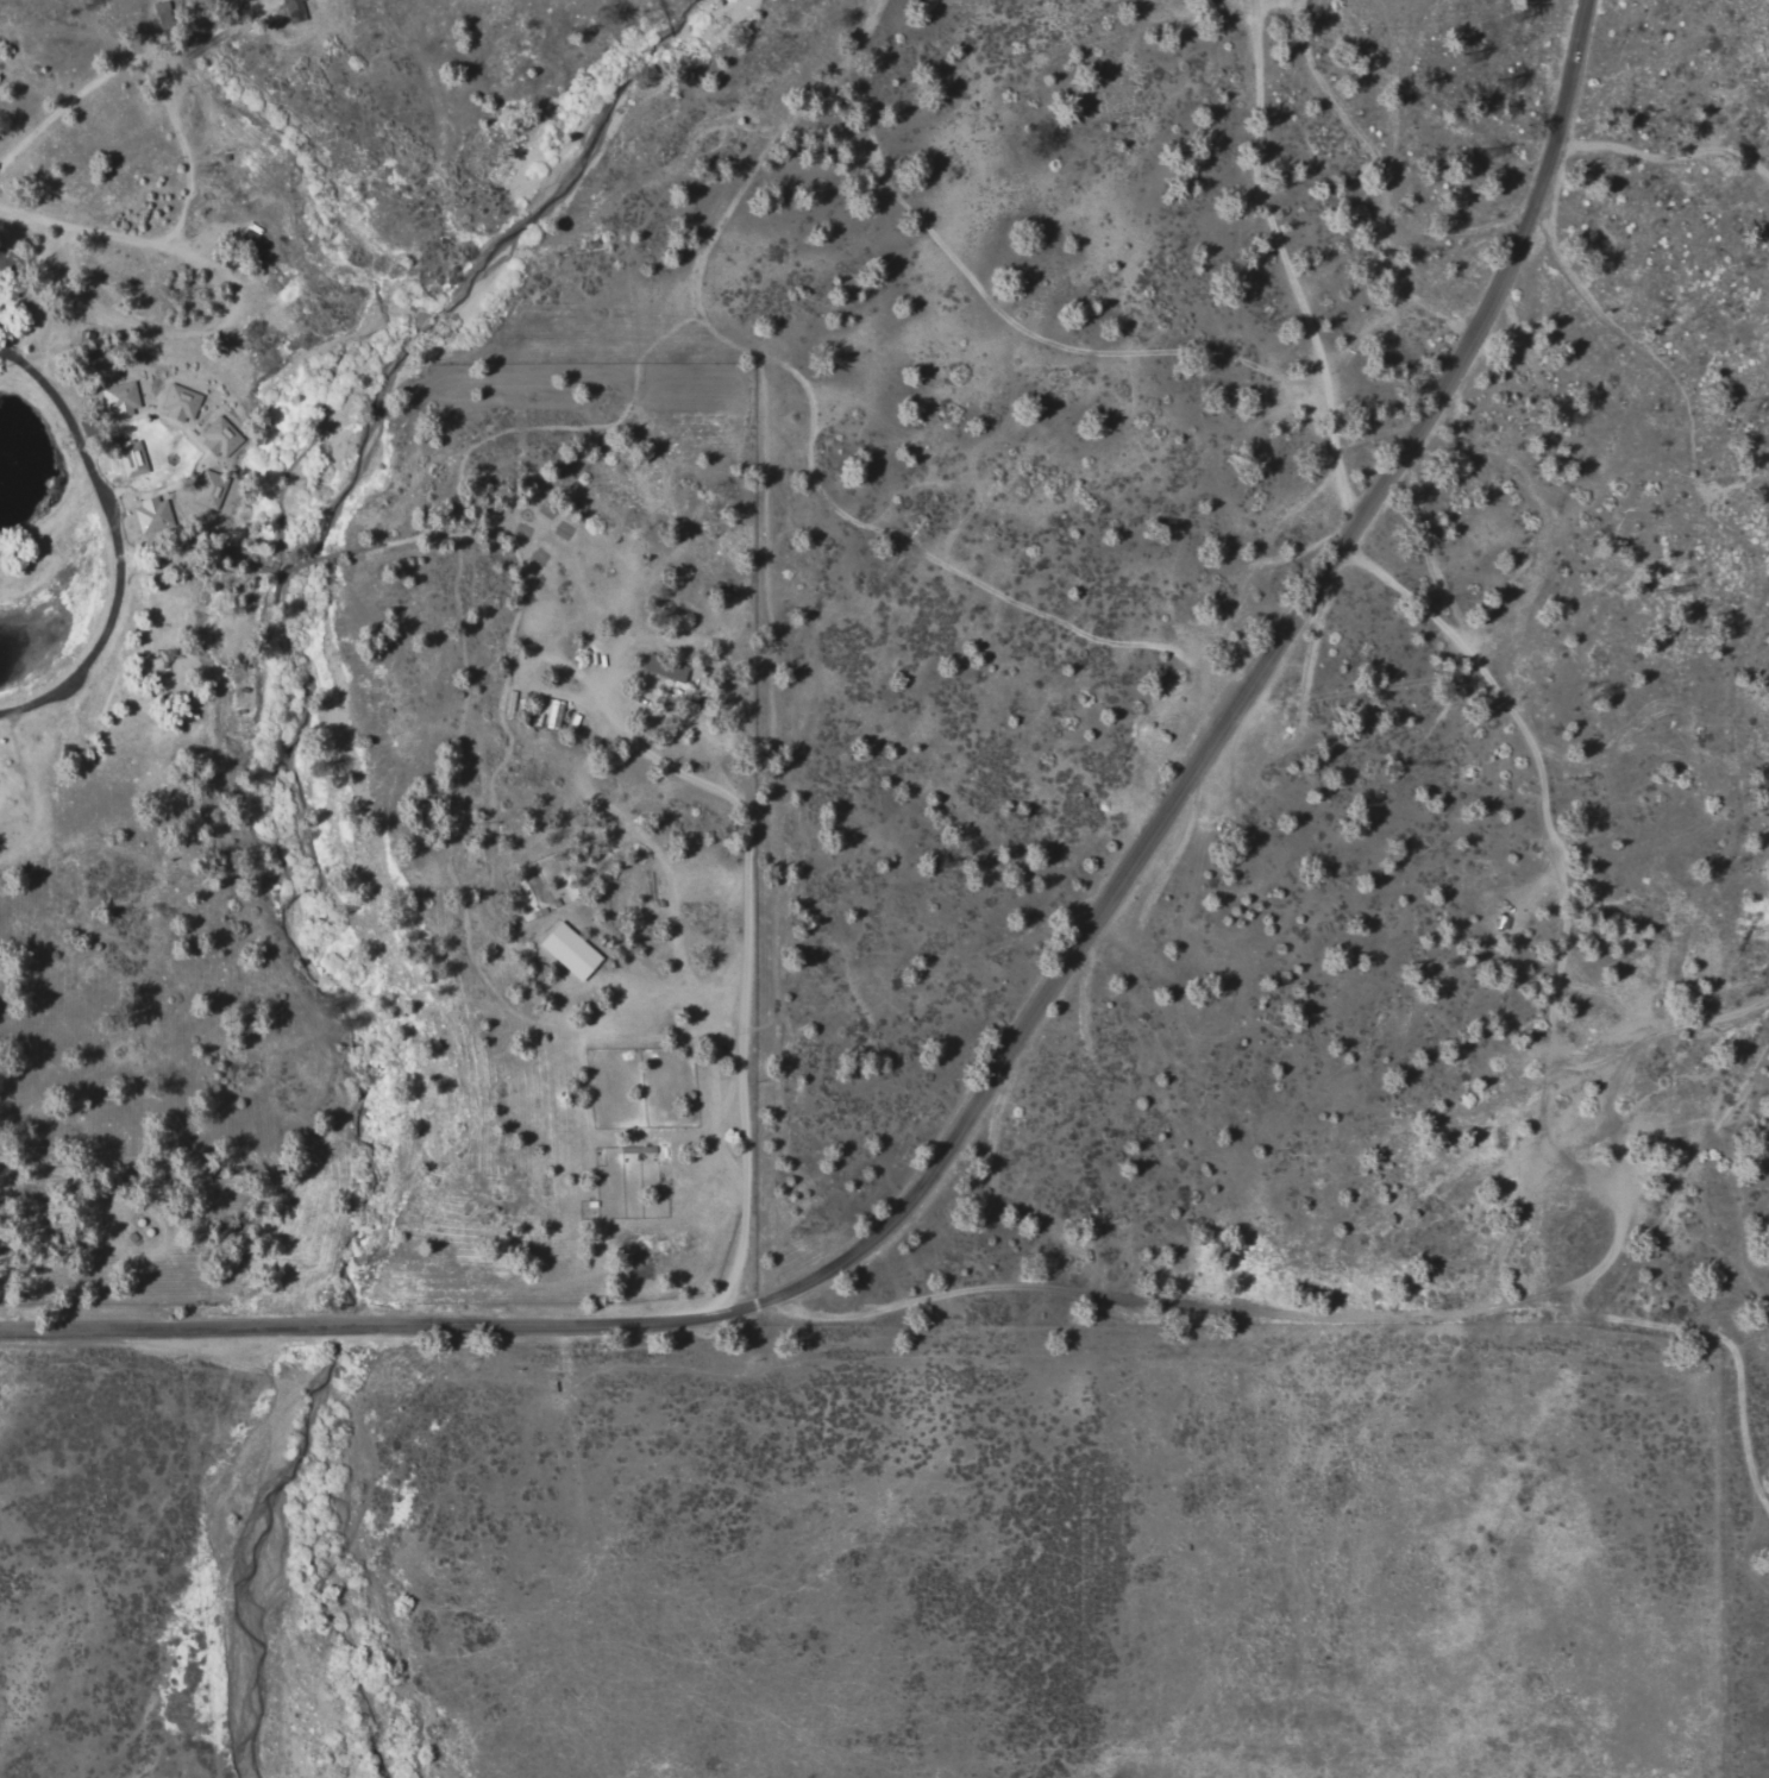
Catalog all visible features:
road: (1663, 161)
building: (253, 243)
road: (1288, 265)
road: (18, 329)
road: (46, 382)
building: (120, 400)
building: (180, 403)
road: (811, 431)
building: (220, 438)
building: (132, 459)
building: (207, 491)
building: (569, 953)
road: (1036, 1019)
road: (1512, 1231)
road: (1621, 1319)

